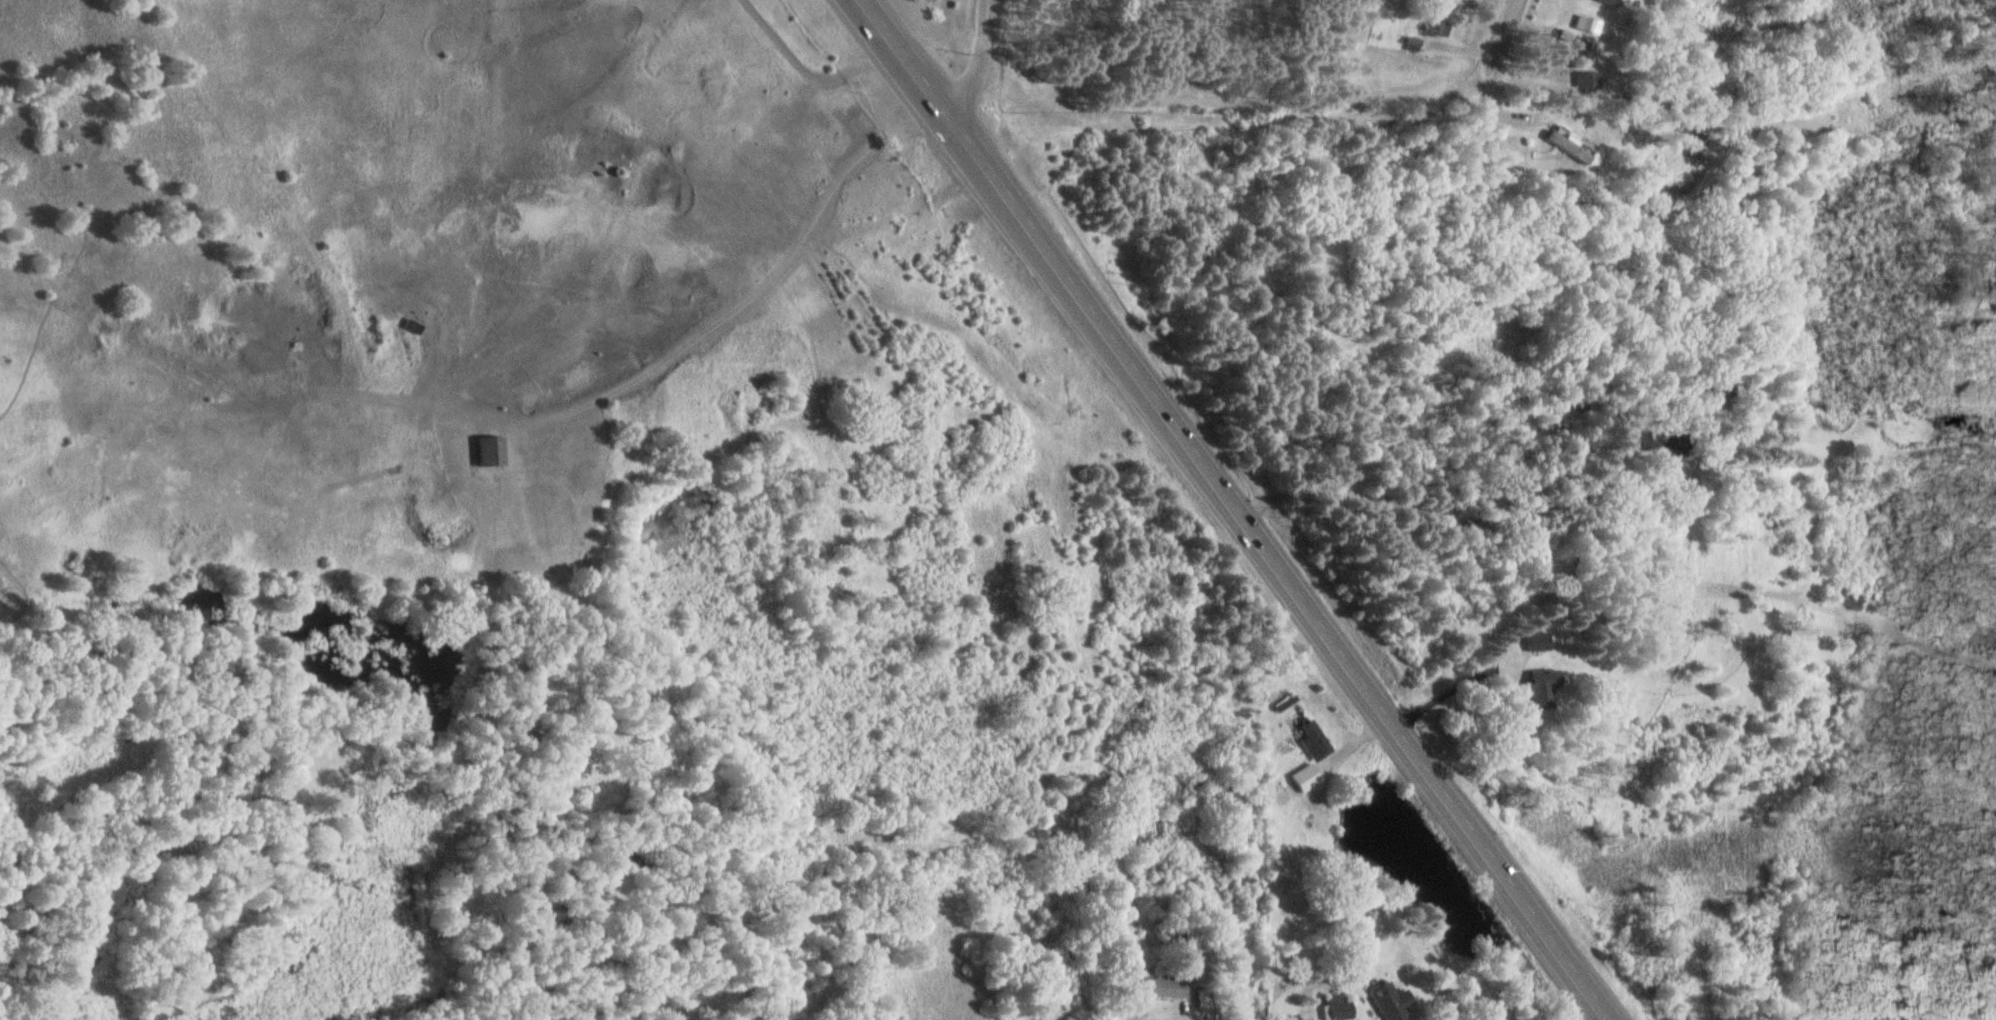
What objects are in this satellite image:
road: (1513, 22)
building: (1437, 28)
road: (985, 66)
road: (808, 69)
building: (1591, 81)
building: (1573, 145)
road: (758, 284)
road: (1236, 509)
road: (1449, 562)
building: (1541, 641)
building: (1546, 687)
building: (1314, 739)
building: (1306, 778)
building: (4, 976)
building: (1162, 983)
building: (1384, 997)
building: (1335, 1004)
road: (1180, 1009)
road: (1367, 1017)

